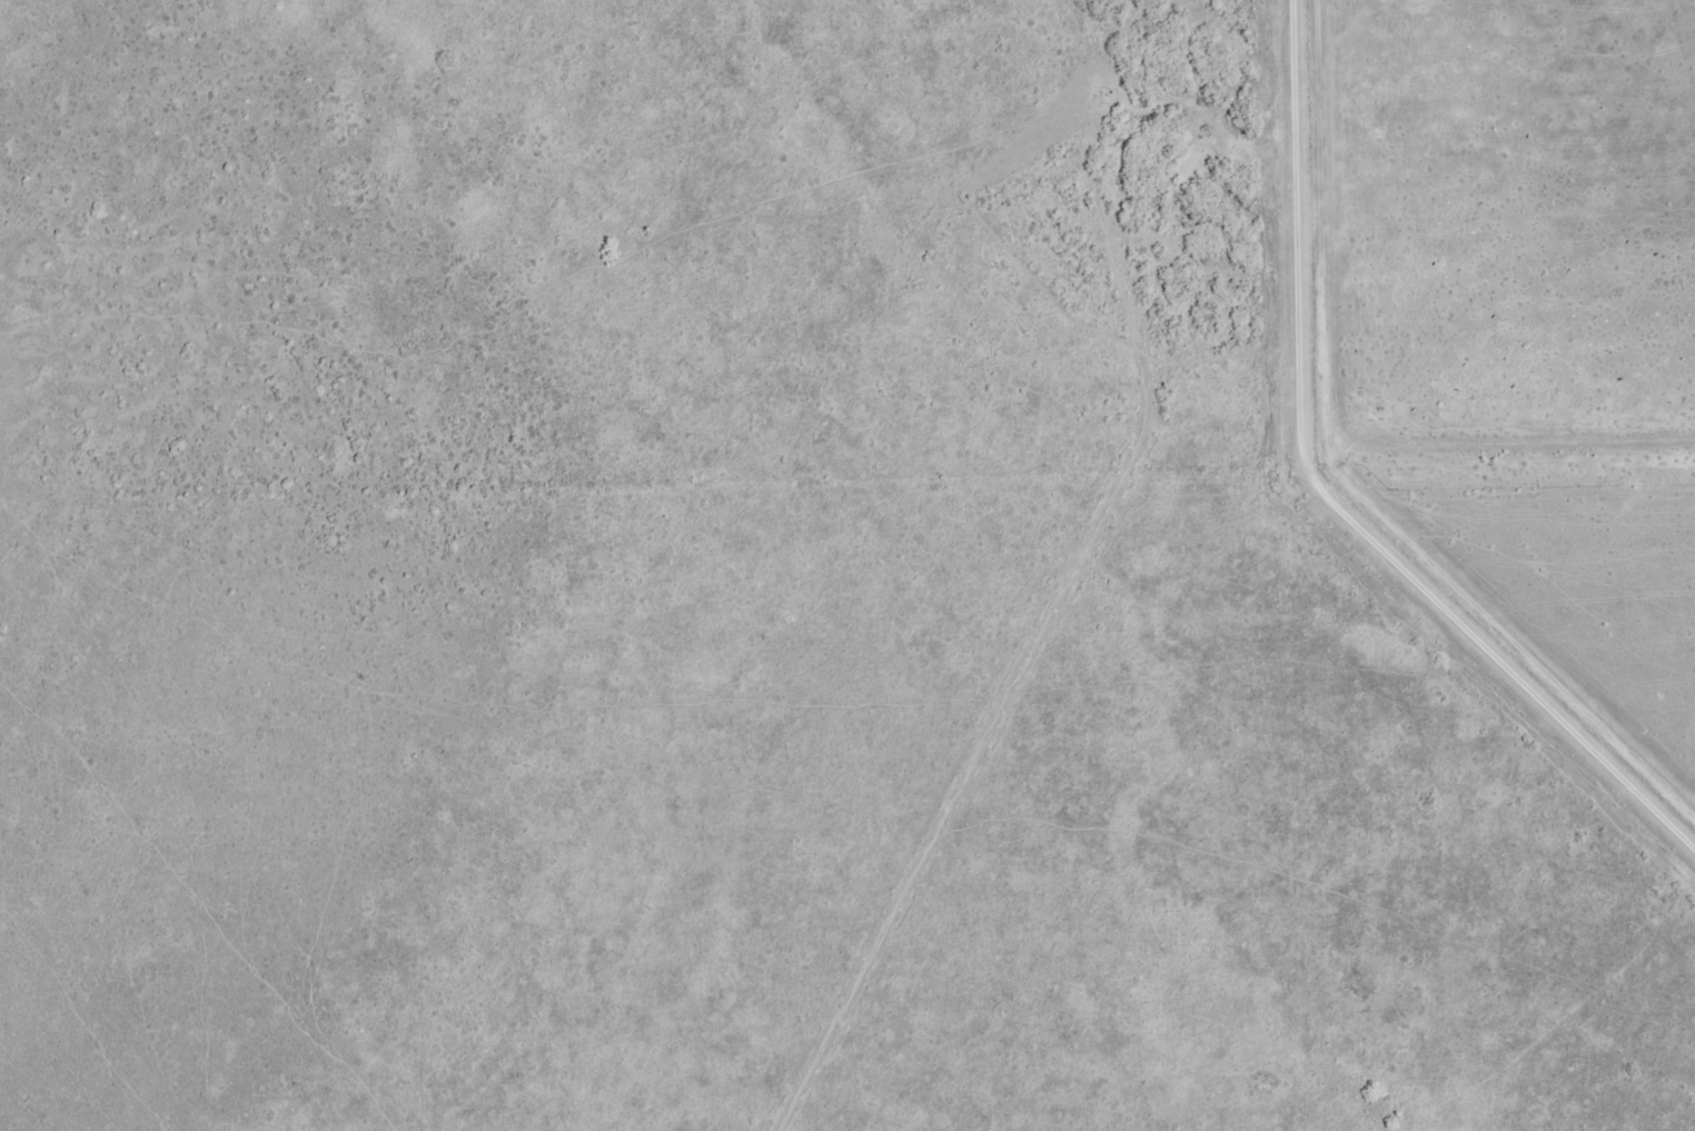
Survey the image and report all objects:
road: (1329, 499)

